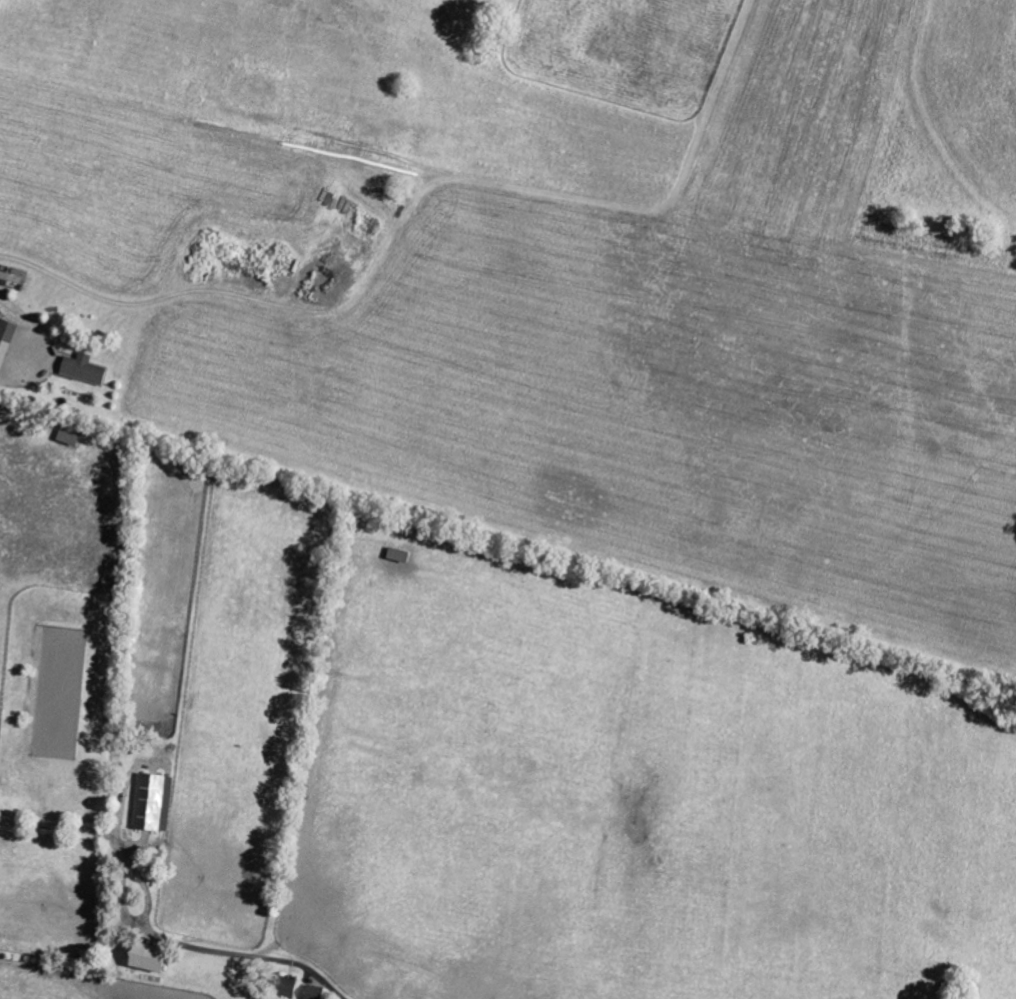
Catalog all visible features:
road: (242, 293)
building: (7, 343)
building: (85, 369)
building: (155, 802)
road: (150, 928)
building: (154, 956)
building: (290, 986)
building: (315, 992)

